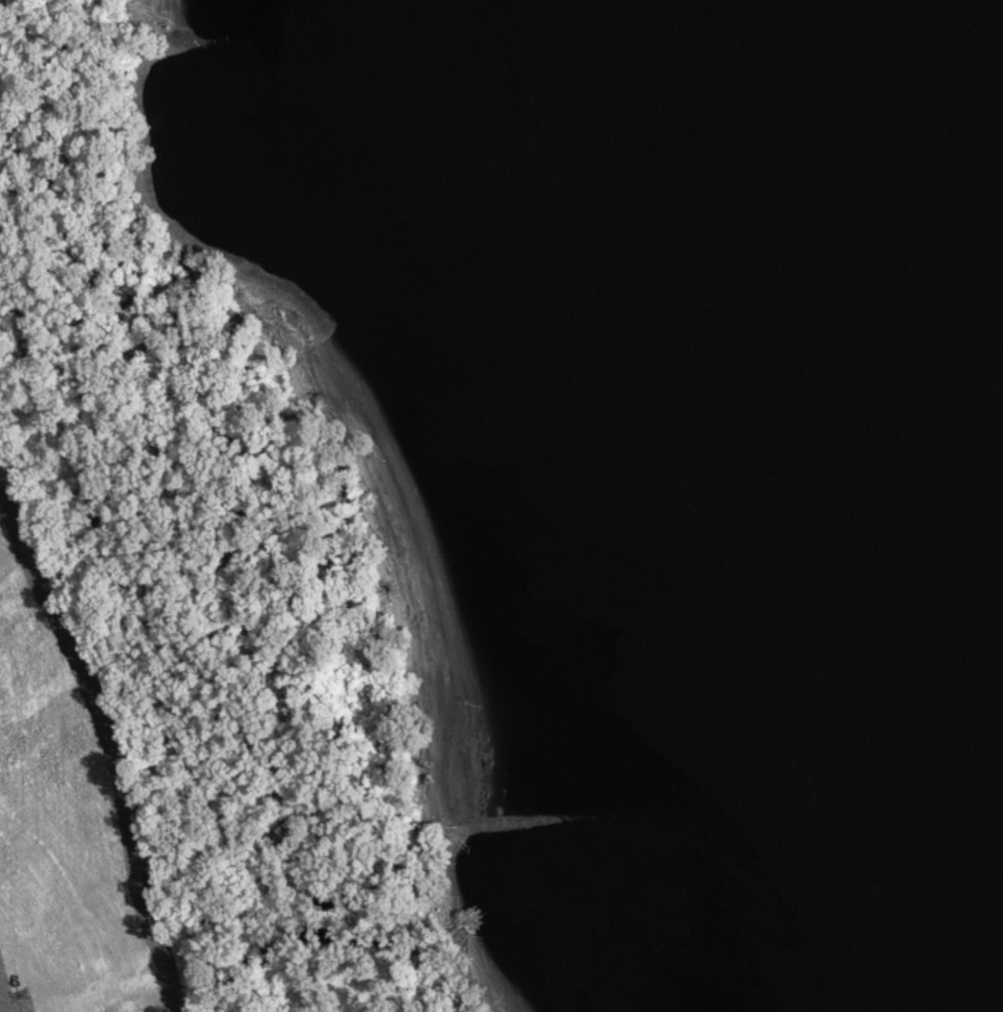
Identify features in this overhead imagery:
river: (961, 126)
crop: (72, 813)

